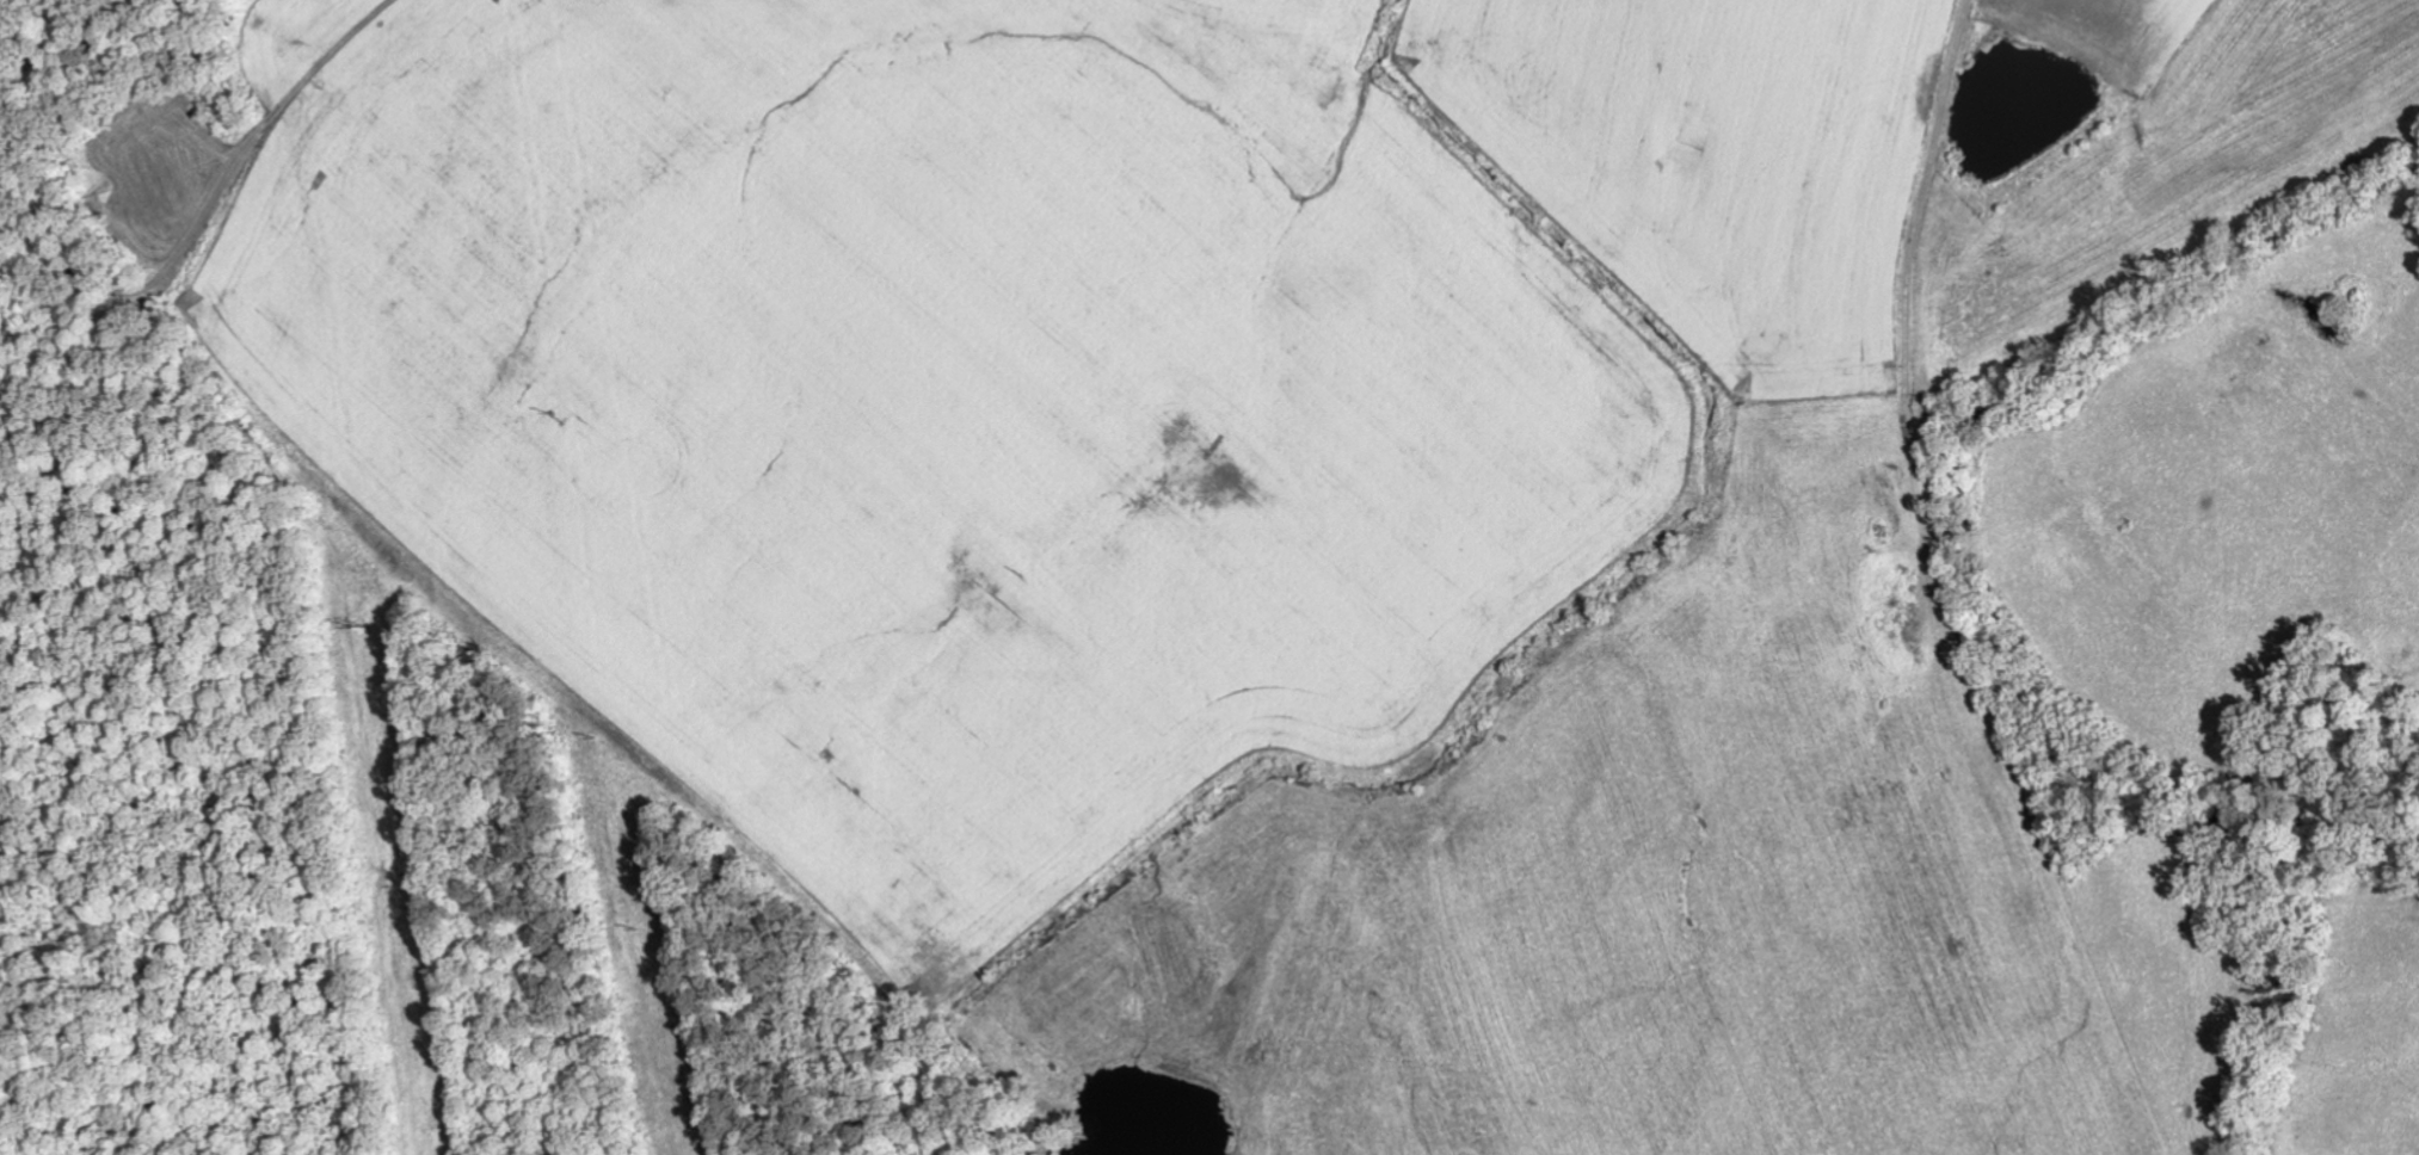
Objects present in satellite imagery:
power tower: (367, 622)

